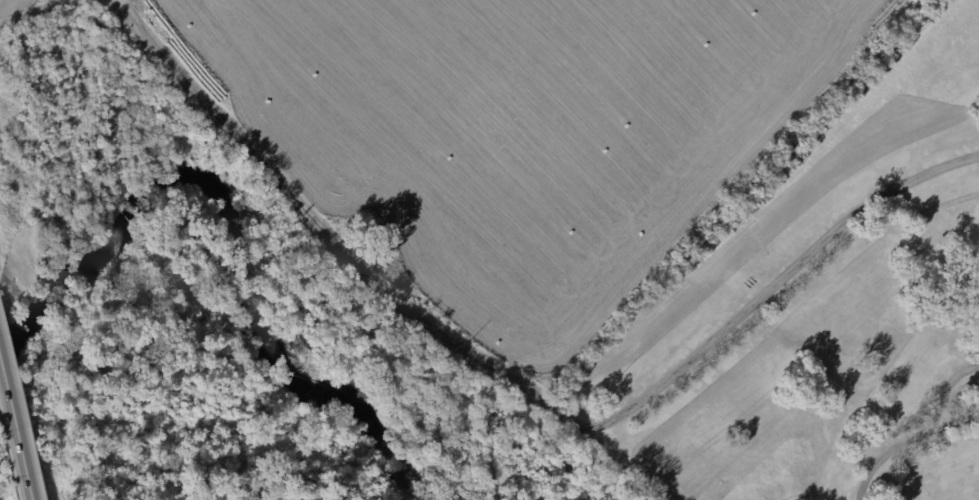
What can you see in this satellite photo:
road: (29, 10)
river: (222, 225)
road: (519, 382)
road: (15, 432)
road: (922, 434)

